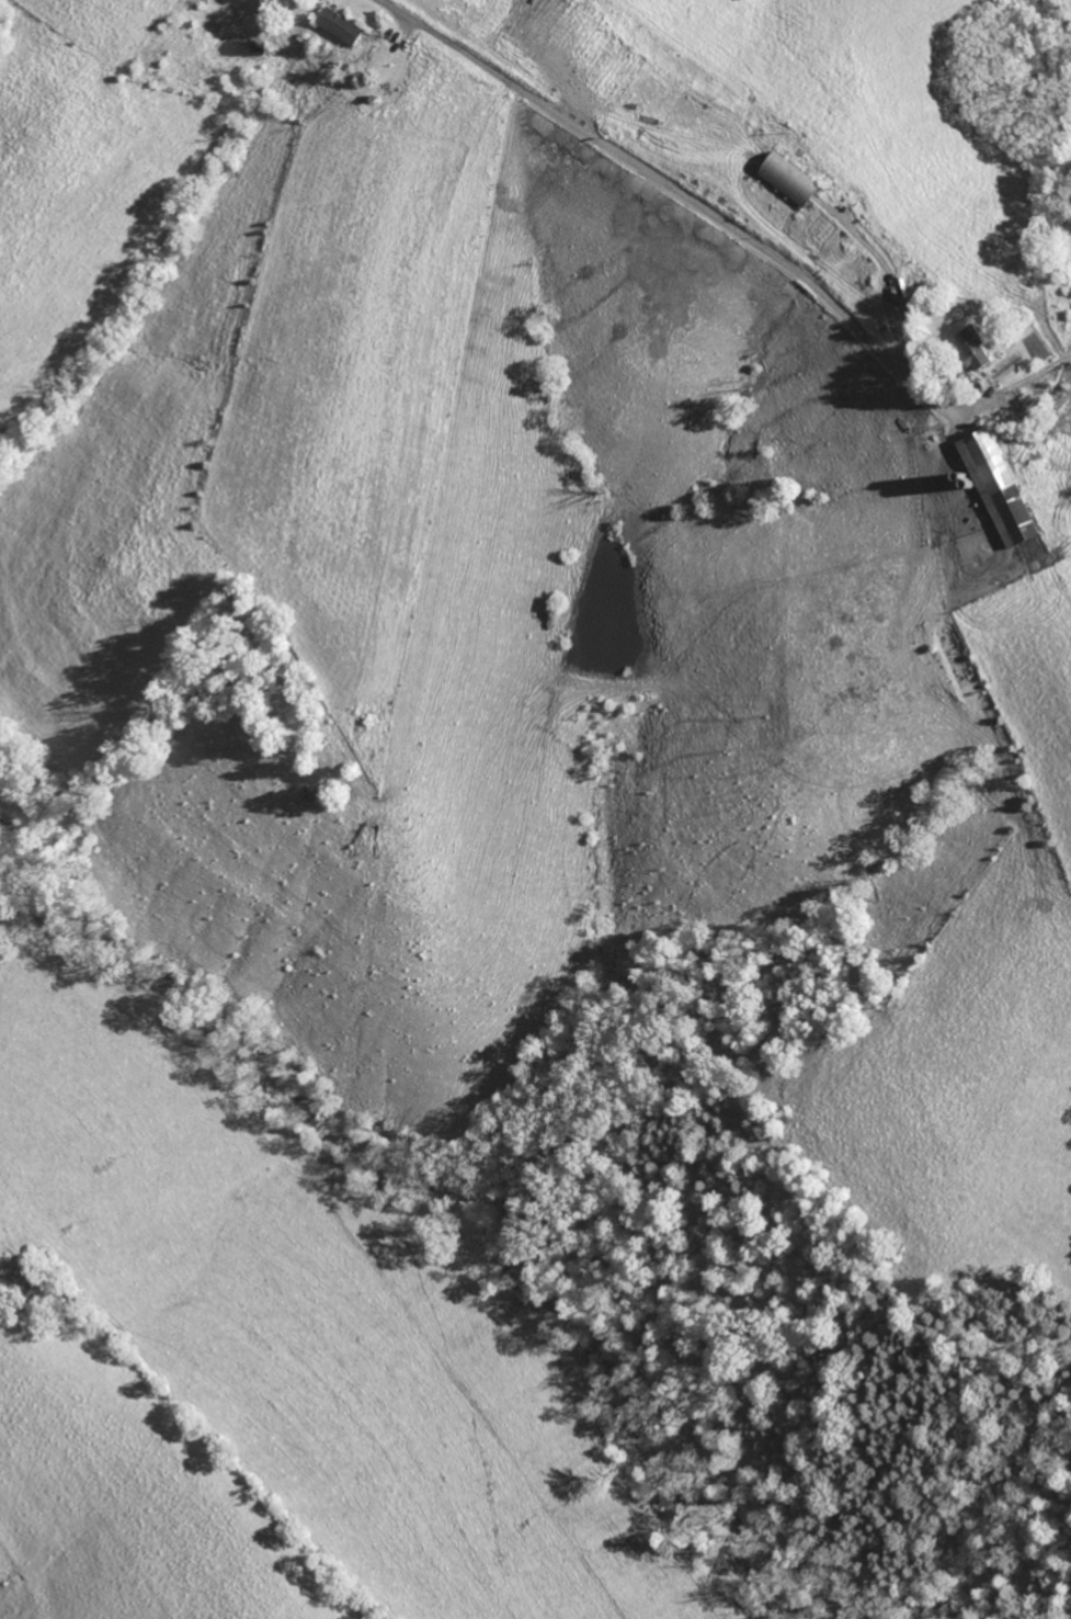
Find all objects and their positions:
building: (342, 25)
road: (497, 73)
building: (793, 180)
road: (778, 259)
building: (979, 348)
building: (1003, 487)

